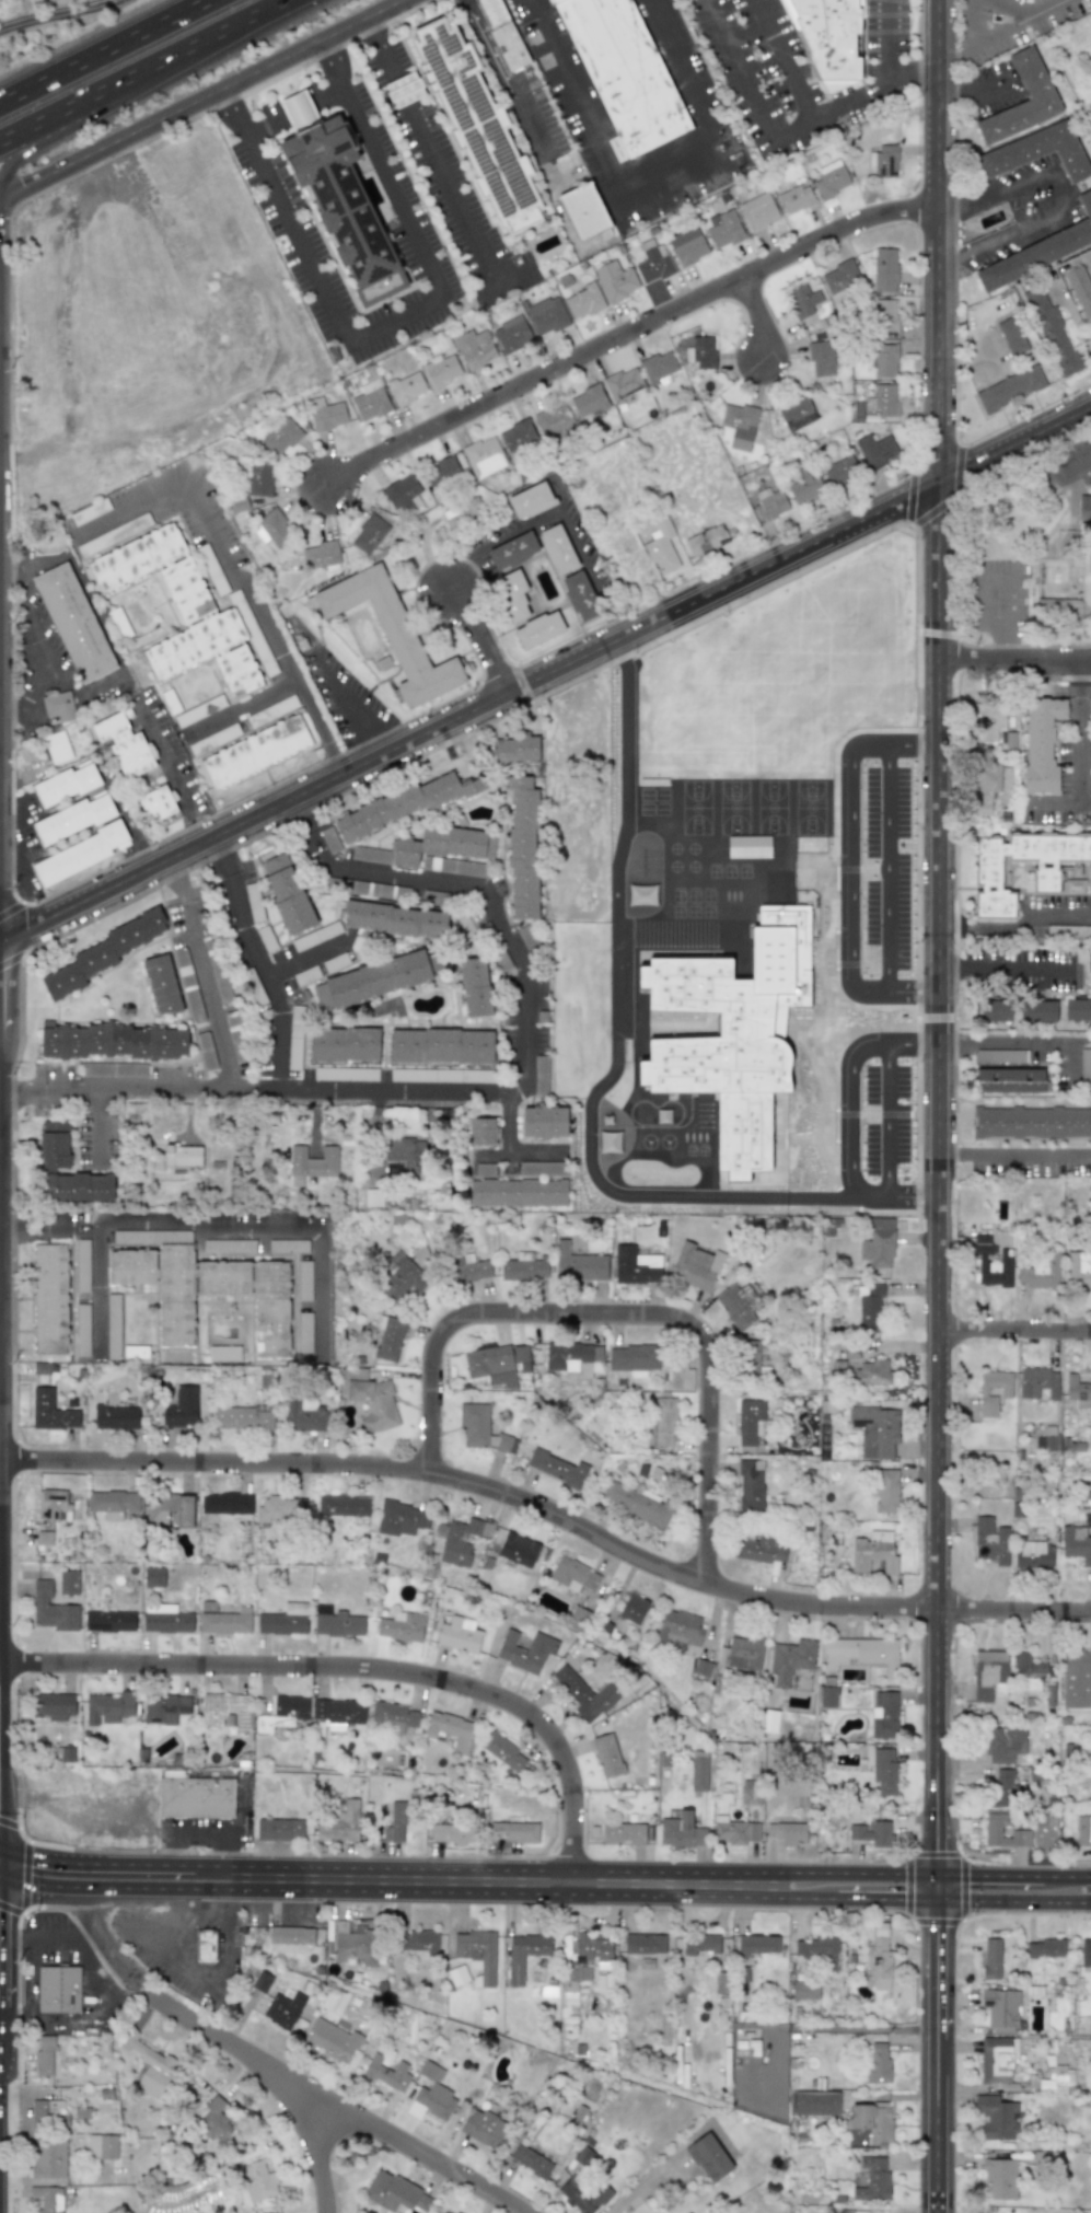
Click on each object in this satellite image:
park: (1, 0)
road: (54, 16)
road: (978, 22)
road: (231, 28)
road: (370, 31)
road: (1000, 33)
building: (502, 34)
building: (829, 38)
road: (889, 38)
road: (918, 46)
road: (104, 51)
road: (786, 57)
road: (386, 61)
road: (333, 63)
road: (499, 69)
road: (919, 72)
building: (623, 74)
building: (1032, 78)
building: (404, 90)
road: (402, 91)
road: (199, 97)
road: (327, 97)
road: (89, 100)
building: (1090, 108)
road: (232, 112)
road: (298, 112)
road: (85, 118)
building: (475, 125)
road: (265, 127)
road: (771, 131)
building: (1036, 151)
building: (883, 162)
road: (646, 173)
building: (831, 178)
road: (937, 178)
road: (955, 178)
road: (446, 185)
road: (1060, 188)
building: (796, 198)
building: (344, 207)
road: (947, 207)
building: (583, 210)
building: (758, 211)
building: (724, 229)
building: (687, 246)
building: (1038, 252)
road: (947, 256)
building: (885, 269)
building: (839, 277)
building: (615, 280)
building: (1080, 291)
building: (802, 300)
building: (584, 301)
road: (393, 314)
building: (547, 315)
road: (756, 315)
building: (885, 315)
road: (9, 323)
building: (1052, 332)
road: (625, 333)
building: (512, 334)
building: (1011, 335)
building: (474, 349)
building: (701, 352)
building: (821, 358)
building: (884, 360)
building: (659, 367)
building: (441, 370)
building: (623, 384)
building: (407, 387)
building: (1010, 389)
building: (885, 399)
building: (371, 401)
building: (588, 401)
building: (326, 414)
building: (797, 414)
building: (553, 419)
road: (936, 420)
building: (740, 425)
building: (518, 436)
building: (281, 437)
road: (1013, 445)
building: (877, 451)
building: (484, 456)
building: (441, 472)
building: (840, 472)
road: (1044, 472)
building: (259, 478)
building: (804, 487)
building: (403, 494)
road: (191, 497)
building: (531, 500)
building: (237, 503)
building: (769, 505)
building: (463, 512)
road: (557, 513)
building: (275, 526)
building: (369, 534)
building: (706, 540)
building: (661, 546)
building: (558, 549)
building: (513, 551)
building: (322, 554)
road: (10, 570)
road: (995, 576)
building: (1086, 581)
building: (580, 595)
building: (513, 596)
road: (815, 603)
road: (1007, 603)
road: (890, 604)
road: (984, 604)
building: (187, 611)
building: (73, 623)
road: (102, 625)
road: (715, 626)
building: (538, 629)
building: (395, 634)
road: (480, 637)
road: (37, 642)
road: (816, 642)
road: (915, 642)
road: (997, 642)
road: (1014, 660)
road: (289, 672)
road: (1078, 679)
road: (343, 696)
building: (636, 698)
road: (483, 704)
building: (59, 706)
road: (241, 708)
road: (11, 709)
building: (991, 719)
building: (701, 731)
road: (374, 742)
building: (1041, 742)
building: (124, 744)
building: (57, 748)
building: (517, 750)
building: (256, 752)
building: (813, 752)
road: (163, 757)
road: (1076, 758)
building: (66, 784)
building: (988, 784)
building: (156, 804)
building: (405, 804)
road: (1051, 804)
road: (302, 812)
building: (73, 819)
road: (197, 829)
road: (310, 838)
building: (717, 842)
building: (443, 845)
building: (522, 847)
road: (223, 853)
building: (81, 854)
building: (990, 869)
road: (778, 870)
building: (717, 874)
road: (392, 876)
road: (176, 878)
building: (665, 881)
building: (287, 893)
building: (851, 906)
road: (1058, 917)
building: (395, 920)
road: (986, 927)
road: (502, 928)
road: (15, 932)
building: (104, 952)
road: (13, 959)
road: (302, 961)
building: (1089, 963)
road: (951, 968)
road: (1014, 968)
building: (373, 981)
building: (162, 985)
building: (475, 987)
building: (1077, 1008)
building: (995, 1010)
building: (1037, 1010)
road: (523, 1023)
building: (733, 1033)
building: (113, 1041)
road: (616, 1041)
road: (1006, 1041)
building: (345, 1044)
building: (441, 1045)
road: (849, 1078)
building: (1010, 1079)
road: (229, 1081)
road: (281, 1087)
road: (20, 1091)
building: (544, 1122)
building: (1032, 1122)
building: (483, 1131)
road: (507, 1137)
building: (55, 1145)
road: (1017, 1152)
building: (405, 1154)
building: (183, 1156)
building: (312, 1163)
road: (943, 1178)
building: (80, 1186)
building: (519, 1193)
road: (896, 1195)
building: (373, 1197)
road: (11, 1200)
road: (222, 1225)
building: (878, 1243)
building: (993, 1263)
building: (579, 1265)
building: (636, 1266)
building: (524, 1267)
building: (696, 1267)
building: (467, 1268)
building: (1078, 1268)
building: (1040, 1271)
building: (403, 1277)
road: (98, 1286)
building: (204, 1286)
building: (50, 1299)
building: (739, 1306)
building: (870, 1308)
road: (631, 1322)
road: (1018, 1326)
building: (388, 1337)
building: (224, 1353)
building: (750, 1357)
building: (522, 1358)
building: (634, 1358)
building: (574, 1359)
building: (491, 1366)
building: (873, 1371)
building: (1038, 1382)
building: (1006, 1391)
building: (1078, 1391)
building: (374, 1403)
building: (181, 1409)
building: (50, 1412)
building: (303, 1415)
building: (116, 1417)
building: (243, 1418)
building: (750, 1421)
building: (660, 1422)
building: (481, 1429)
building: (875, 1430)
building: (1046, 1440)
building: (557, 1468)
building: (751, 1485)
building: (886, 1491)
building: (227, 1503)
building: (637, 1503)
building: (113, 1504)
building: (51, 1505)
building: (344, 1505)
building: (282, 1508)
building: (166, 1509)
building: (403, 1519)
road: (550, 1519)
building: (990, 1541)
building: (453, 1543)
building: (1076, 1543)
building: (763, 1549)
building: (518, 1550)
building: (874, 1552)
building: (1033, 1555)
road: (12, 1563)
building: (573, 1575)
building: (154, 1577)
building: (68, 1583)
building: (634, 1609)
building: (51, 1610)
building: (166, 1619)
building: (223, 1619)
building: (577, 1619)
building: (109, 1620)
building: (285, 1620)
building: (336, 1622)
building: (402, 1626)
building: (678, 1630)
building: (460, 1634)
building: (525, 1650)
building: (744, 1653)
building: (862, 1654)
building: (790, 1660)
road: (15, 1664)
building: (703, 1668)
building: (1032, 1672)
road: (358, 1675)
building: (989, 1675)
building: (1077, 1679)
building: (587, 1693)
building: (840, 1698)
building: (53, 1706)
building: (290, 1706)
building: (108, 1707)
building: (165, 1708)
building: (224, 1710)
building: (338, 1713)
building: (884, 1715)
building: (394, 1717)
building: (264, 1724)
building: (450, 1730)
building: (1005, 1745)
building: (503, 1752)
building: (607, 1756)
road: (11, 1762)
road: (0, 1766)
building: (884, 1771)
building: (1001, 1787)
building: (196, 1797)
building: (338, 1823)
building: (396, 1823)
road: (9, 1826)
building: (993, 1827)
building: (279, 1829)
building: (456, 1831)
building: (682, 1831)
building: (735, 1831)
building: (1083, 1831)
building: (514, 1832)
building: (788, 1832)
building: (624, 1833)
building: (875, 1834)
traffic signals: (0, 1851)
road: (0, 1864)
road: (116, 1864)
road: (857, 1873)
road: (994, 1876)
road: (25, 1877)
road: (1067, 1877)
traffic signals: (0, 1878)
road: (502, 1880)
road: (117, 1887)
road: (794, 1898)
road: (883, 1898)
road: (1018, 1900)
road: (11, 1909)
road: (97, 1935)
building: (291, 1935)
road: (0, 1939)
road: (48, 1939)
building: (418, 1940)
building: (643, 1943)
building: (699, 1943)
building: (353, 1944)
building: (757, 1944)
building: (206, 1945)
building: (589, 1946)
building: (1044, 1948)
building: (817, 1950)
building: (476, 1953)
building: (1086, 1953)
building: (524, 1954)
building: (991, 1958)
building: (879, 1962)
building: (457, 1974)
building: (574, 1976)
road: (208, 1980)
building: (262, 1981)
building: (720, 1982)
building: (58, 1989)
building: (804, 1990)
road: (18, 2001)
building: (1000, 2006)
building: (283, 2008)
building: (332, 2039)
road: (942, 2043)
building: (44, 2055)
building: (997, 2059)
building: (148, 2063)
building: (877, 2063)
building: (386, 2072)
building: (1056, 2079)
building: (431, 2095)
building: (813, 2102)
road: (332, 2107)
building: (47, 2112)
building: (996, 2117)
building: (214, 2121)
road: (293, 2123)
building: (868, 2124)
building: (483, 2128)
building: (102, 2146)
building: (583, 2155)
building: (708, 2157)
building: (48, 2159)
building: (531, 2160)
building: (873, 2178)
building: (998, 2178)
building: (255, 2181)
road: (647, 2187)
building: (395, 2192)
building: (47, 2199)
building: (445, 2211)
building: (857, 2211)

